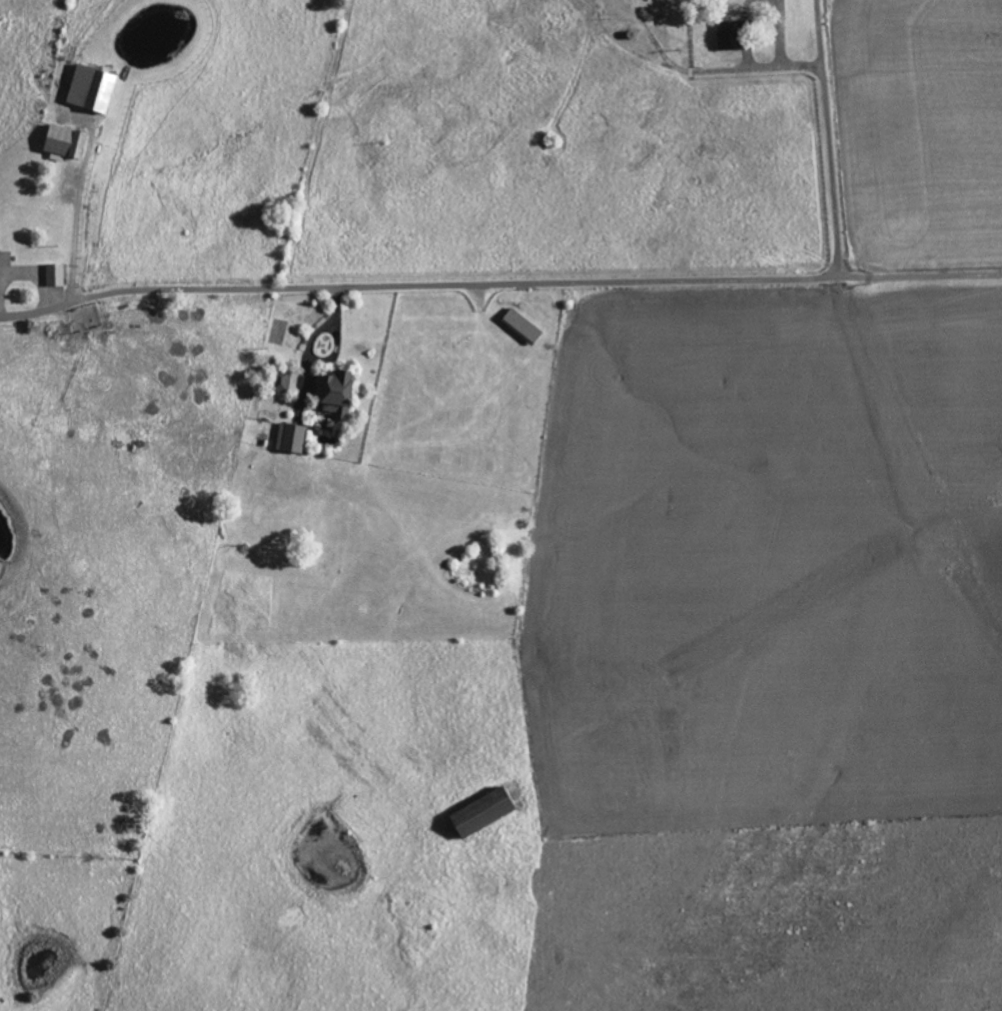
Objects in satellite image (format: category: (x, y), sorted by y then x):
building: (727, 35)
building: (90, 88)
building: (62, 142)
road: (79, 205)
road: (25, 271)
building: (54, 275)
road: (916, 275)
road: (552, 279)
road: (70, 289)
road: (307, 346)
building: (282, 381)
building: (334, 393)
building: (289, 438)
building: (480, 811)

